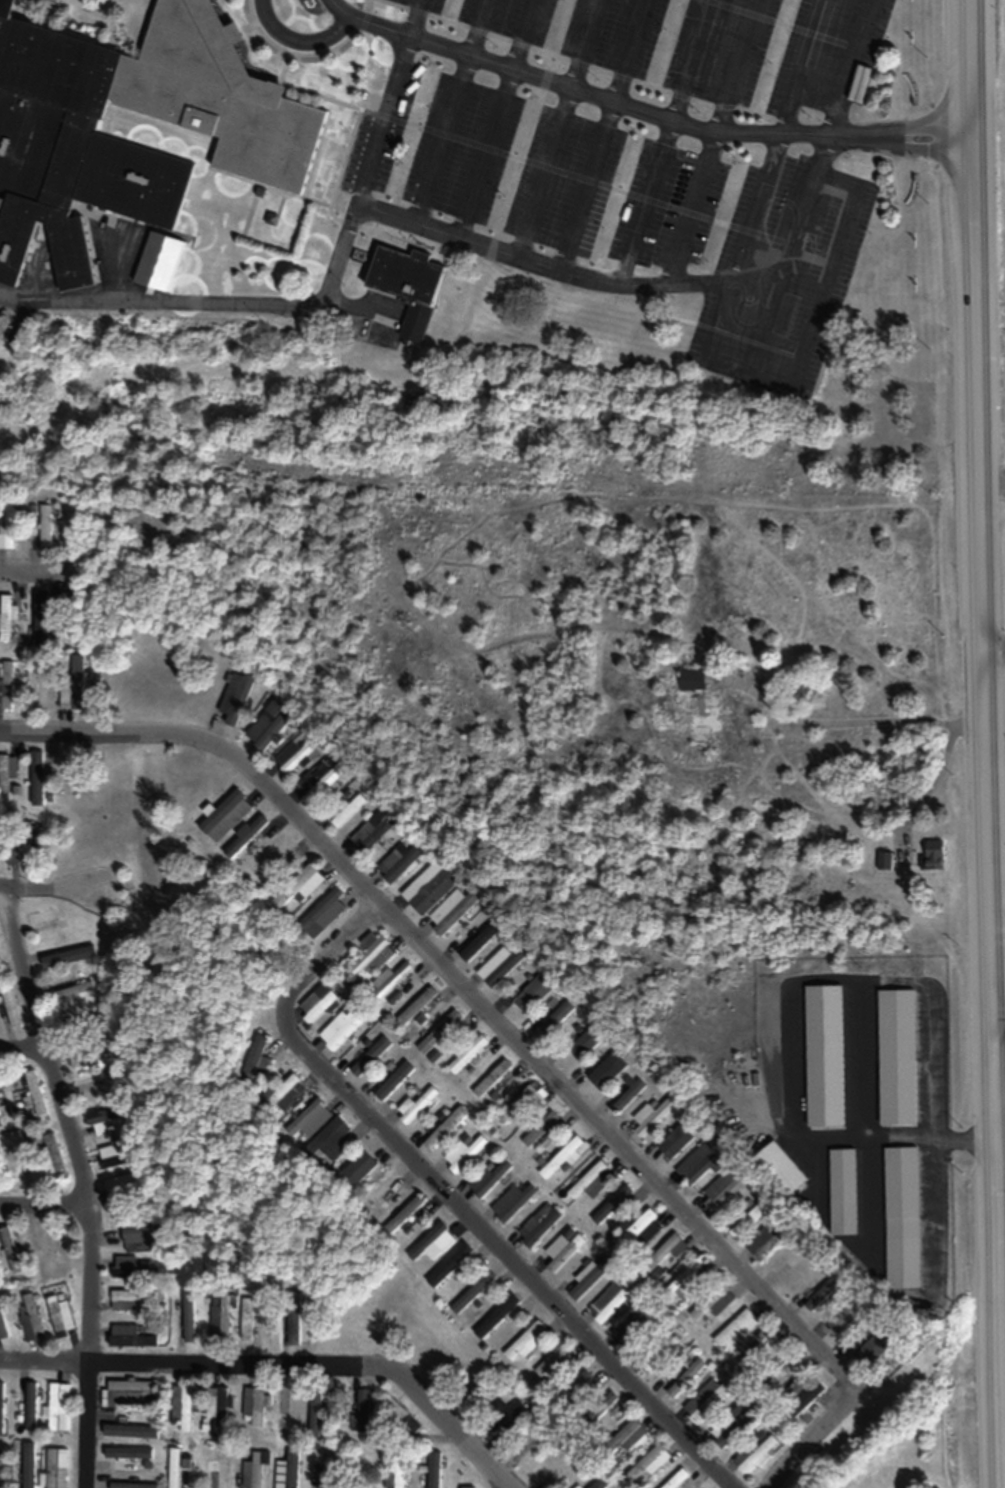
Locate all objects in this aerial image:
road: (424, 18)
road: (372, 21)
road: (264, 37)
road: (303, 43)
parking lot: (711, 47)
road: (348, 48)
road: (812, 68)
road: (852, 68)
road: (602, 96)
road: (363, 109)
road: (455, 114)
road: (500, 120)
road: (391, 123)
road: (925, 128)
road: (564, 130)
road: (611, 136)
road: (810, 137)
road: (851, 139)
road: (670, 142)
road: (718, 142)
road: (926, 154)
building: (81, 155)
road: (807, 200)
road: (764, 210)
parking lot: (625, 217)
road: (847, 233)
road: (547, 267)
building: (406, 274)
road: (764, 276)
road: (545, 290)
road: (211, 305)
road: (724, 319)
road: (768, 320)
road: (813, 334)
road: (747, 374)
building: (7, 528)
building: (44, 530)
road: (33, 568)
building: (5, 619)
building: (41, 620)
road: (997, 648)
building: (74, 683)
building: (6, 686)
building: (44, 691)
building: (235, 697)
building: (703, 702)
road: (854, 721)
building: (269, 725)
road: (991, 740)
building: (292, 757)
building: (7, 773)
building: (69, 776)
building: (38, 778)
building: (319, 782)
road: (932, 785)
building: (227, 815)
building: (373, 831)
building: (247, 835)
building: (21, 849)
building: (934, 855)
building: (275, 858)
building: (886, 861)
building: (399, 863)
road: (45, 883)
building: (301, 886)
building: (433, 891)
building: (452, 911)
building: (324, 914)
building: (373, 955)
building: (65, 957)
building: (502, 963)
building: (390, 980)
road: (456, 982)
building: (71, 987)
building: (533, 995)
building: (319, 1004)
building: (424, 1005)
building: (10, 1009)
building: (556, 1018)
building: (344, 1028)
building: (440, 1032)
road: (21, 1039)
building: (585, 1044)
building: (468, 1054)
building: (823, 1056)
building: (373, 1057)
building: (896, 1058)
building: (92, 1059)
building: (258, 1060)
road: (50, 1066)
building: (606, 1072)
building: (492, 1077)
building: (395, 1081)
building: (34, 1094)
building: (287, 1094)
building: (626, 1095)
building: (517, 1104)
building: (418, 1105)
building: (0, 1113)
building: (651, 1116)
building: (310, 1118)
building: (108, 1121)
building: (445, 1128)
building: (540, 1129)
building: (329, 1141)
building: (674, 1142)
quarry: (1002, 1150)
building: (468, 1155)
building: (114, 1157)
building: (561, 1158)
building: (698, 1163)
building: (358, 1169)
building: (781, 1169)
building: (488, 1178)
building: (591, 1182)
building: (119, 1183)
building: (380, 1190)
building: (722, 1191)
building: (842, 1192)
road: (43, 1196)
road: (449, 1196)
building: (512, 1203)
building: (616, 1205)
building: (403, 1215)
building: (902, 1217)
building: (746, 1221)
building: (639, 1231)
building: (137, 1234)
building: (433, 1242)
building: (765, 1242)
building: (563, 1248)
building: (10, 1250)
building: (46, 1251)
building: (666, 1252)
building: (453, 1266)
building: (132, 1272)
building: (590, 1277)
building: (824, 1291)
building: (473, 1292)
building: (124, 1300)
building: (610, 1302)
building: (719, 1302)
building: (847, 1315)
building: (33, 1317)
building: (188, 1317)
building: (500, 1317)
building: (61, 1318)
building: (218, 1318)
building: (294, 1318)
building: (245, 1319)
building: (3, 1329)
building: (737, 1330)
building: (129, 1336)
building: (528, 1341)
building: (877, 1347)
building: (550, 1362)
building: (651, 1363)
road: (280, 1367)
road: (88, 1370)
building: (789, 1378)
building: (687, 1379)
building: (577, 1385)
building: (128, 1392)
building: (706, 1401)
building: (805, 1402)
building: (254, 1403)
building: (31, 1405)
building: (58, 1406)
building: (183, 1408)
building: (216, 1408)
building: (1, 1409)
building: (363, 1411)
building: (400, 1414)
building: (315, 1415)
building: (514, 1416)
building: (734, 1427)
building: (129, 1431)
road: (807, 1433)
building: (631, 1436)
building: (129, 1453)
building: (756, 1455)
building: (650, 1462)
building: (551, 1464)
building: (29, 1465)
building: (0, 1468)
building: (57, 1468)
building: (174, 1468)
building: (401, 1469)
building: (254, 1470)
building: (327, 1470)
building: (434, 1470)
building: (217, 1471)
building: (288, 1471)
building: (677, 1479)
building: (601, 1483)
building: (137, 1485)

